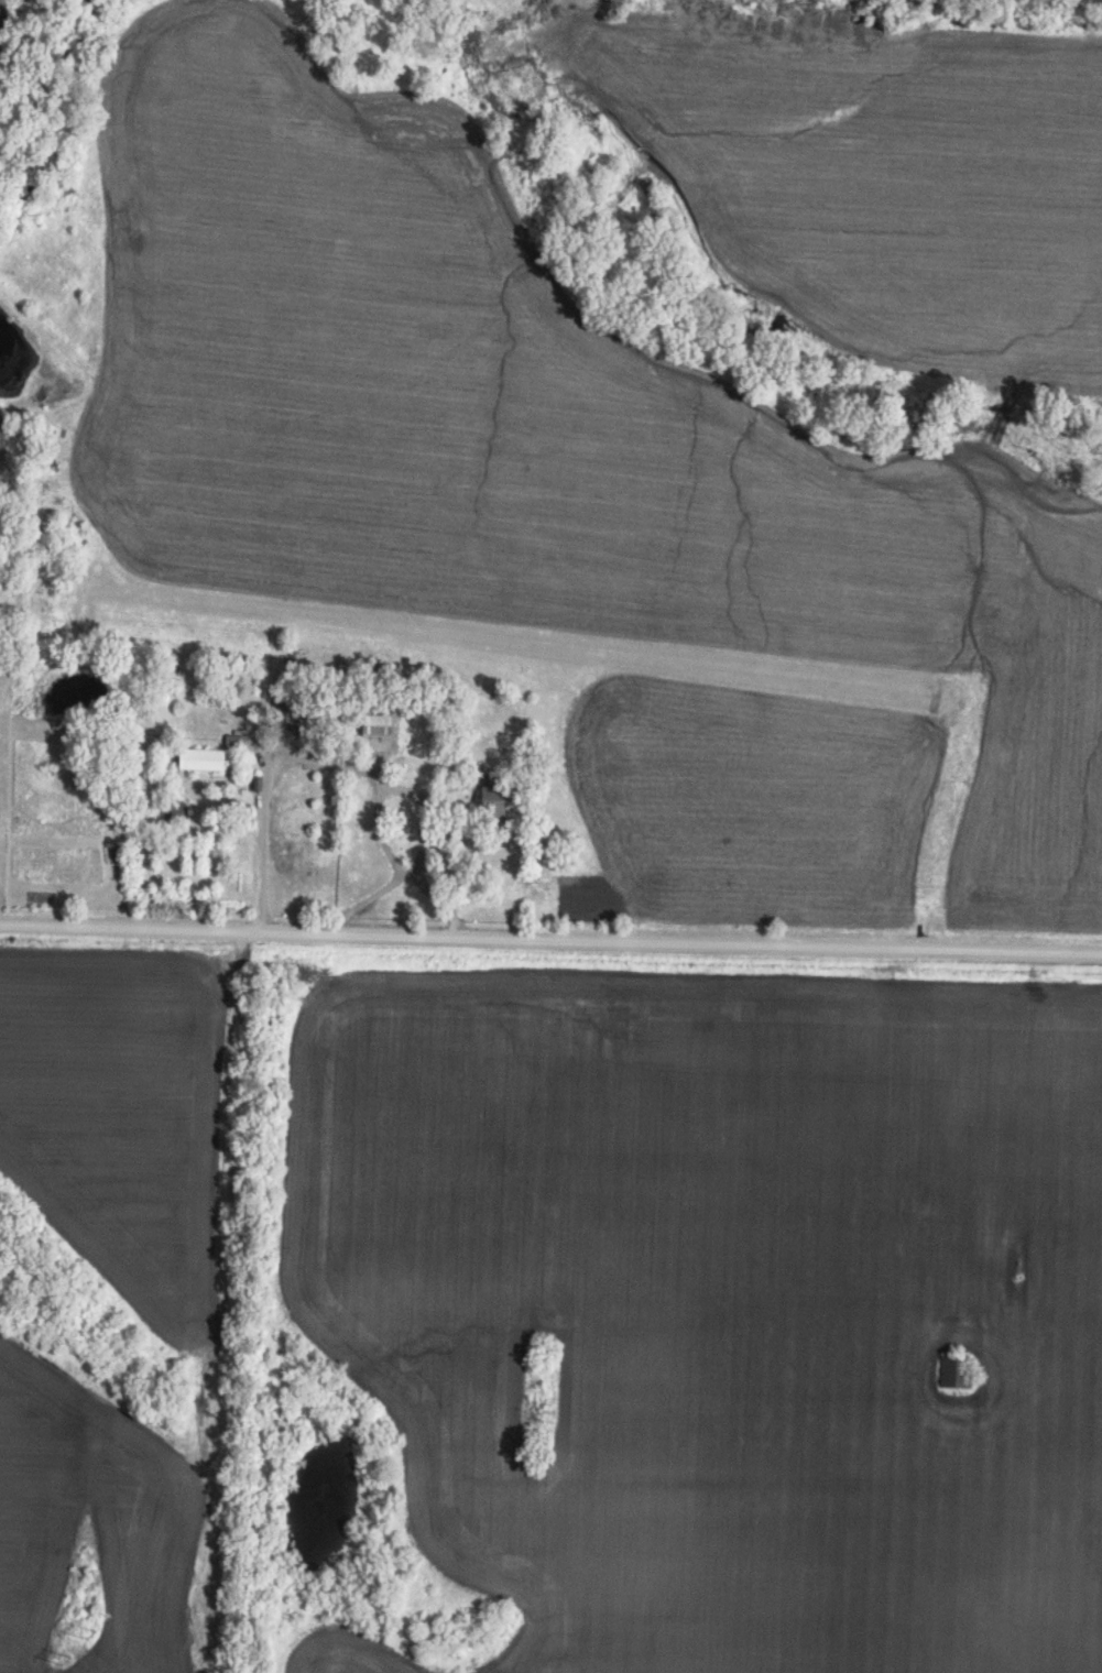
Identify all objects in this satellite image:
building: (375, 670)
building: (296, 715)
building: (375, 724)
building: (200, 757)
road: (353, 762)
building: (492, 797)
building: (118, 854)
road: (404, 868)
road: (550, 940)
building: (953, 1371)
power tower: (88, 1636)
power tower: (67, 1654)

